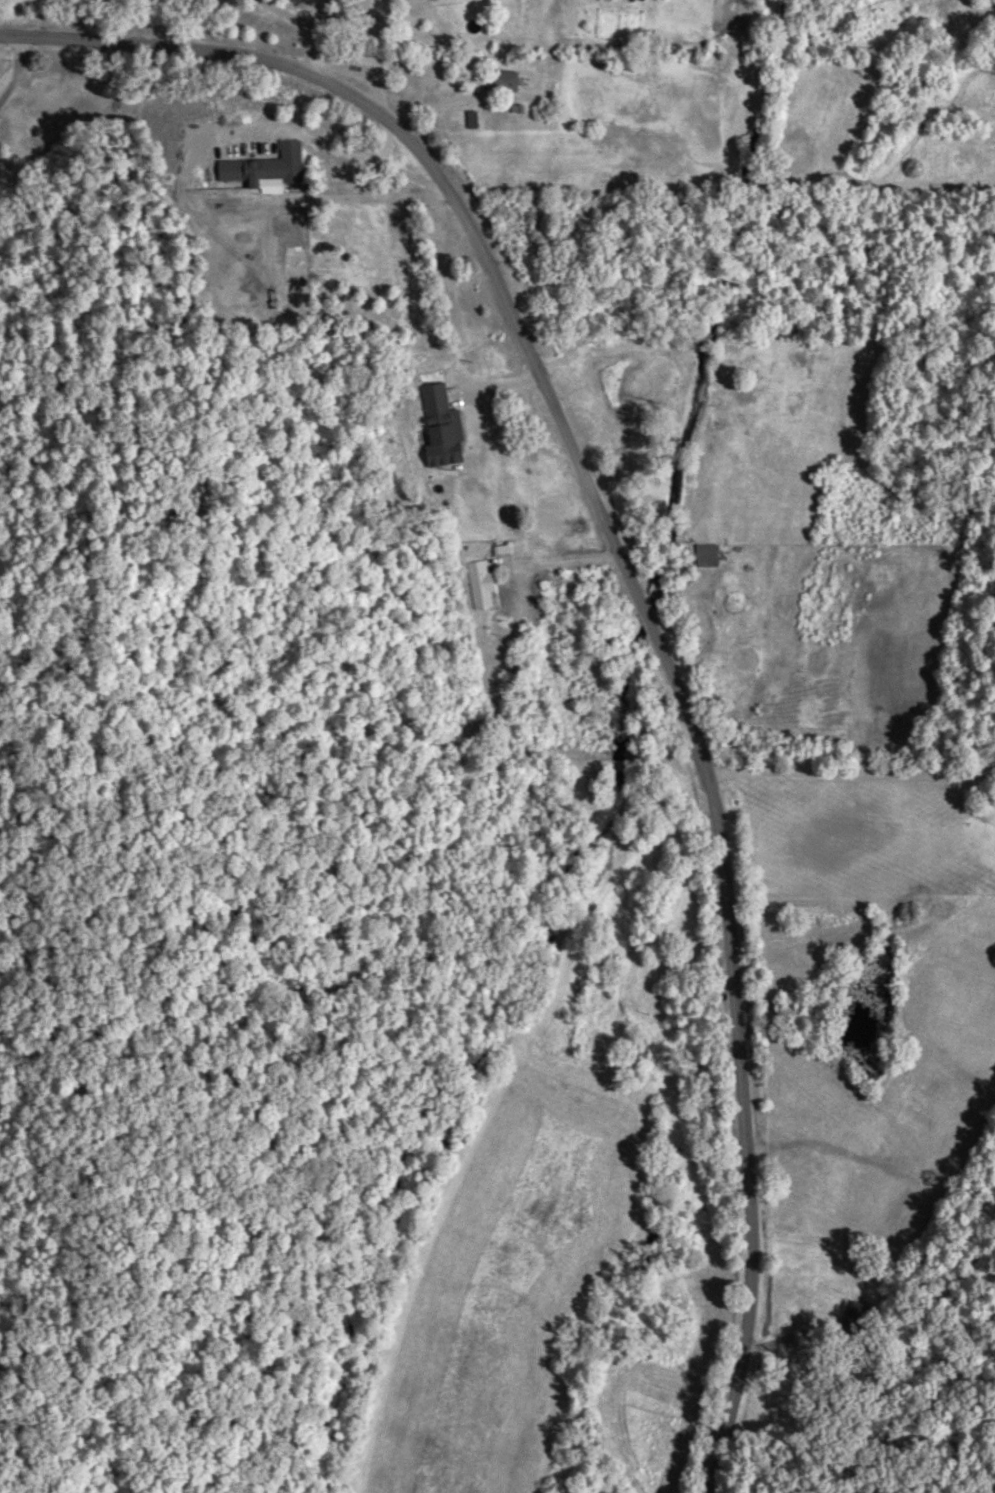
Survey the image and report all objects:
road: (312, 36)
road: (393, 57)
building: (361, 62)
road: (11, 65)
building: (501, 81)
road: (354, 156)
building: (282, 163)
building: (229, 170)
building: (433, 399)
building: (437, 454)
building: (704, 556)
road: (557, 565)
road: (633, 583)
building: (480, 586)
road: (716, 638)
road: (487, 700)
building: (853, 1320)

